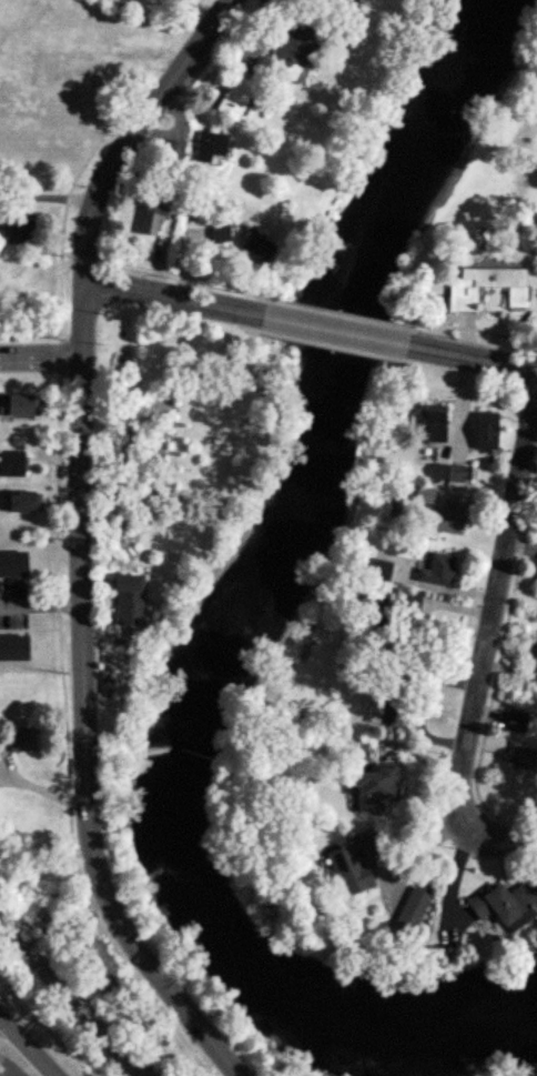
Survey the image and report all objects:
building: (294, 46)
building: (246, 56)
building: (233, 98)
building: (209, 148)
building: (173, 150)
road: (10, 193)
road: (58, 195)
road: (10, 205)
building: (150, 219)
building: (16, 229)
building: (217, 233)
building: (252, 245)
building: (484, 285)
road: (171, 295)
road: (333, 330)
road: (40, 359)
road: (472, 359)
building: (17, 404)
building: (430, 423)
building: (485, 432)
building: (11, 464)
building: (449, 474)
building: (422, 496)
building: (20, 502)
building: (444, 517)
road: (74, 537)
building: (11, 564)
building: (433, 572)
building: (123, 600)
road: (36, 604)
building: (406, 604)
river: (233, 634)
building: (11, 648)
road: (484, 663)
building: (533, 663)
building: (389, 708)
building: (517, 721)
building: (17, 740)
building: (521, 755)
building: (374, 788)
building: (351, 865)
building: (505, 901)
building: (414, 902)
building: (93, 954)
railway: (67, 1004)
road: (24, 1049)

